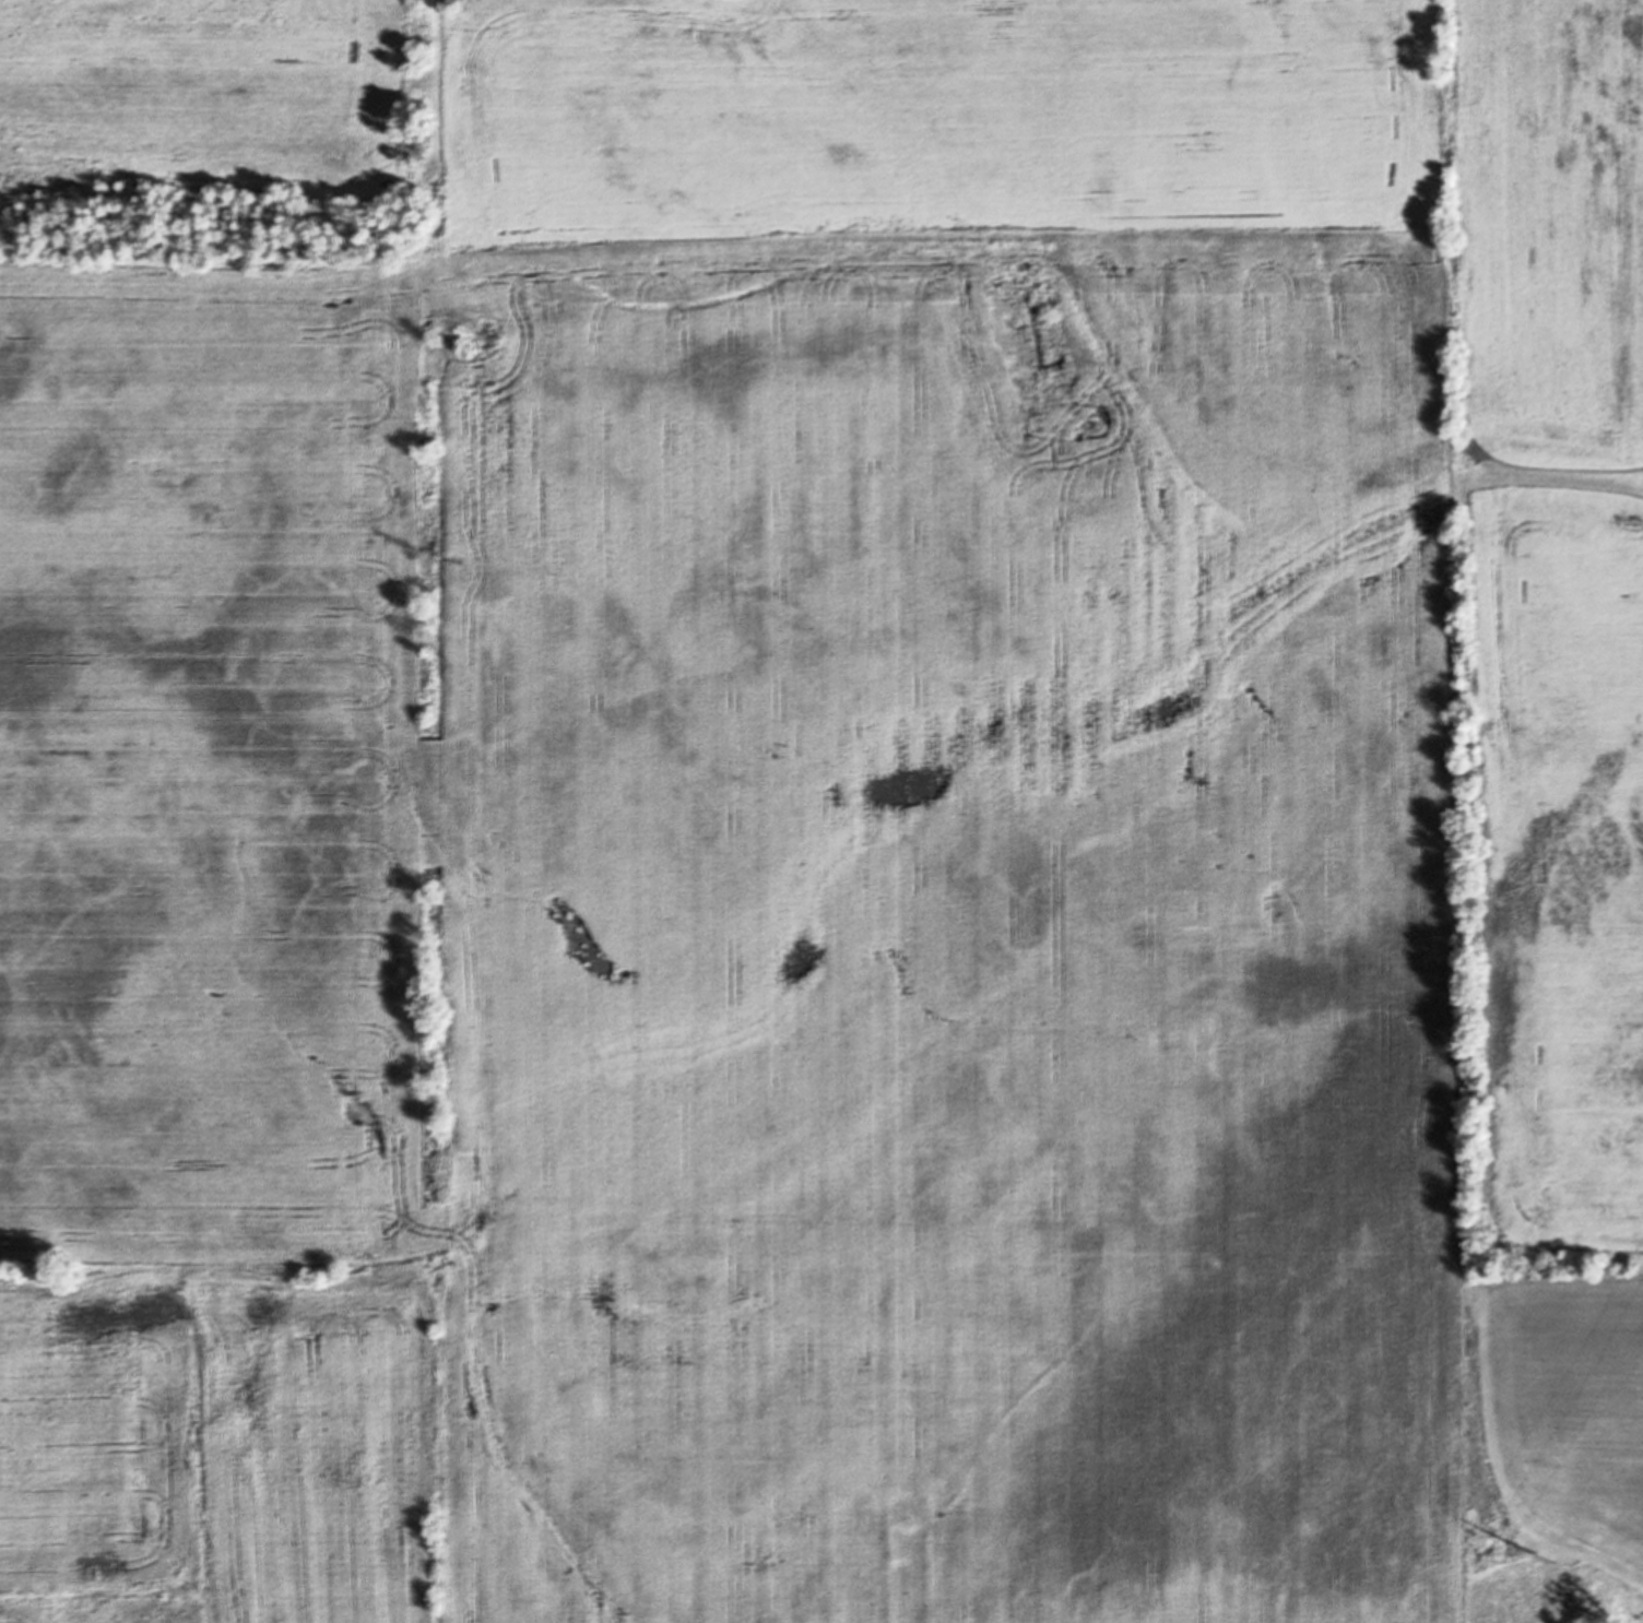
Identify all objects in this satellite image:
power tower: (1547, 1556)

